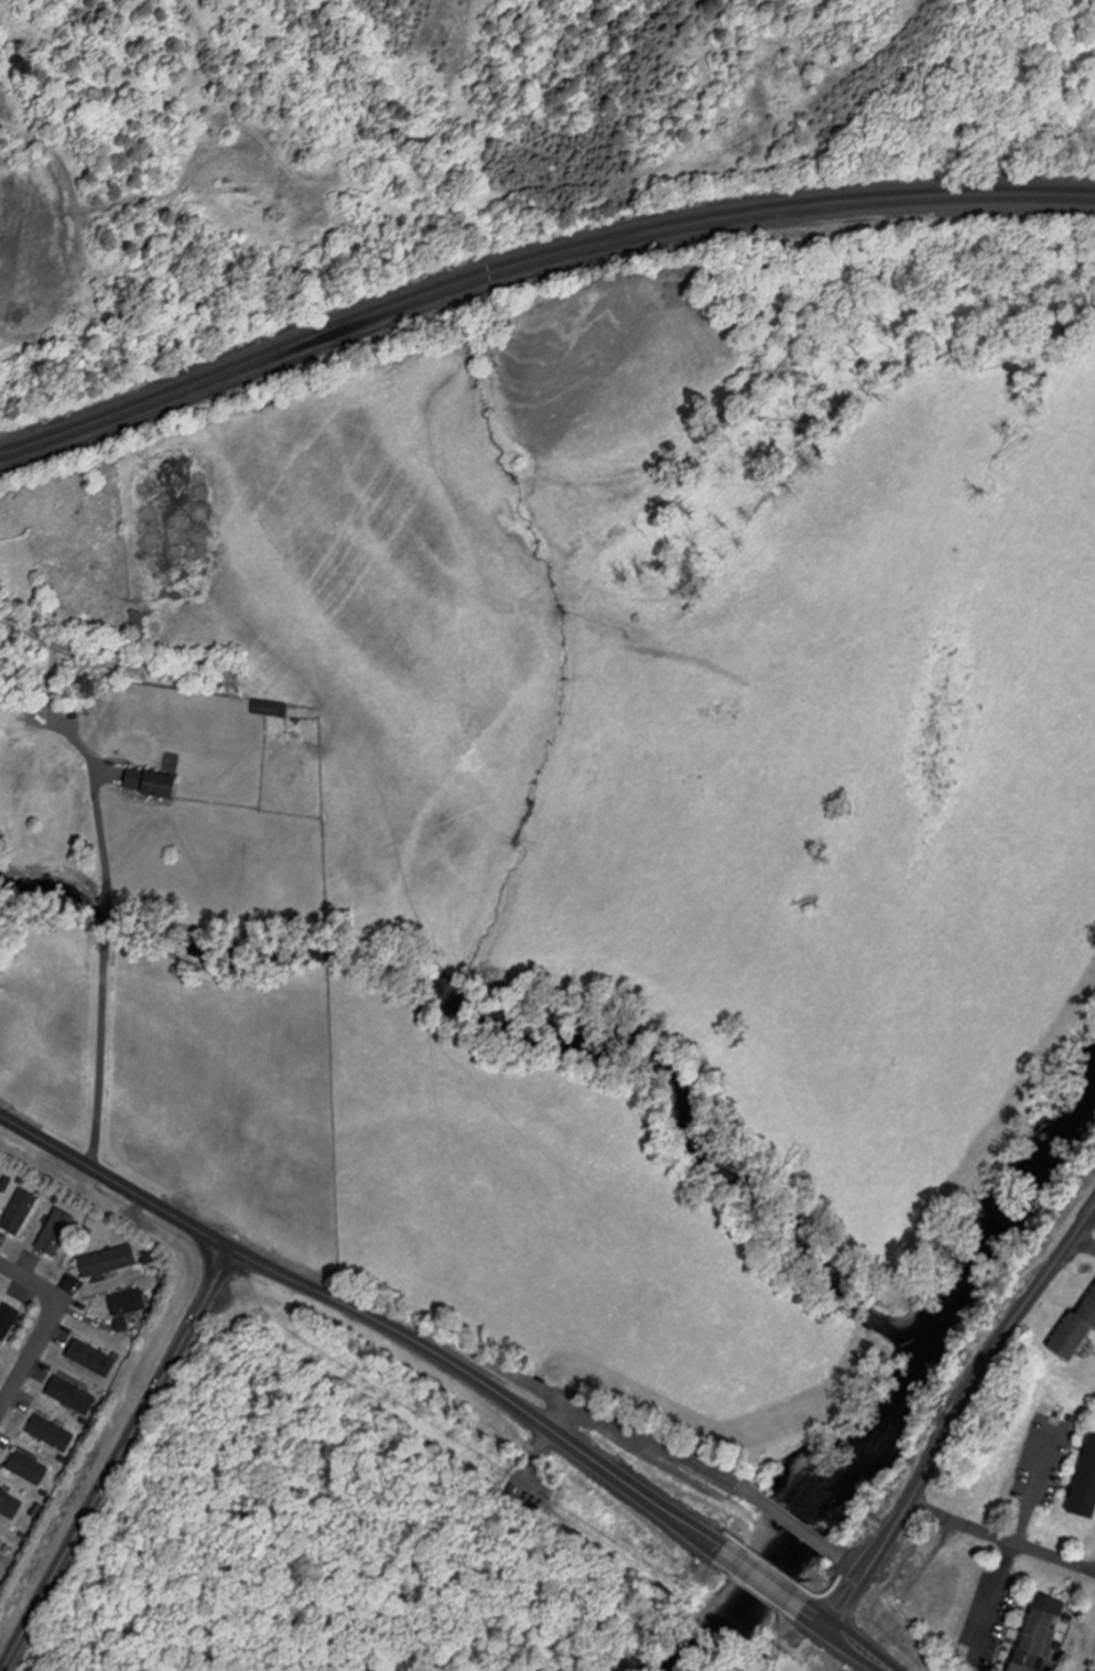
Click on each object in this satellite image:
railway: (533, 255)
railway: (533, 266)
road: (53, 626)
building: (271, 709)
building: (151, 784)
road: (101, 973)
building: (0, 1183)
road: (1094, 1210)
building: (20, 1212)
building: (56, 1233)
road: (1084, 1243)
building: (108, 1262)
building: (113, 1302)
road: (373, 1314)
building: (8, 1322)
road: (47, 1327)
building: (1075, 1330)
building: (93, 1358)
building: (72, 1395)
river: (895, 1398)
road: (957, 1414)
building: (51, 1433)
road: (118, 1460)
building: (29, 1468)
building: (1086, 1484)
building: (10, 1505)
road: (1002, 1538)
building: (1, 1542)
road: (1013, 1544)
road: (762, 1580)
building: (1040, 1634)
road: (849, 1638)

